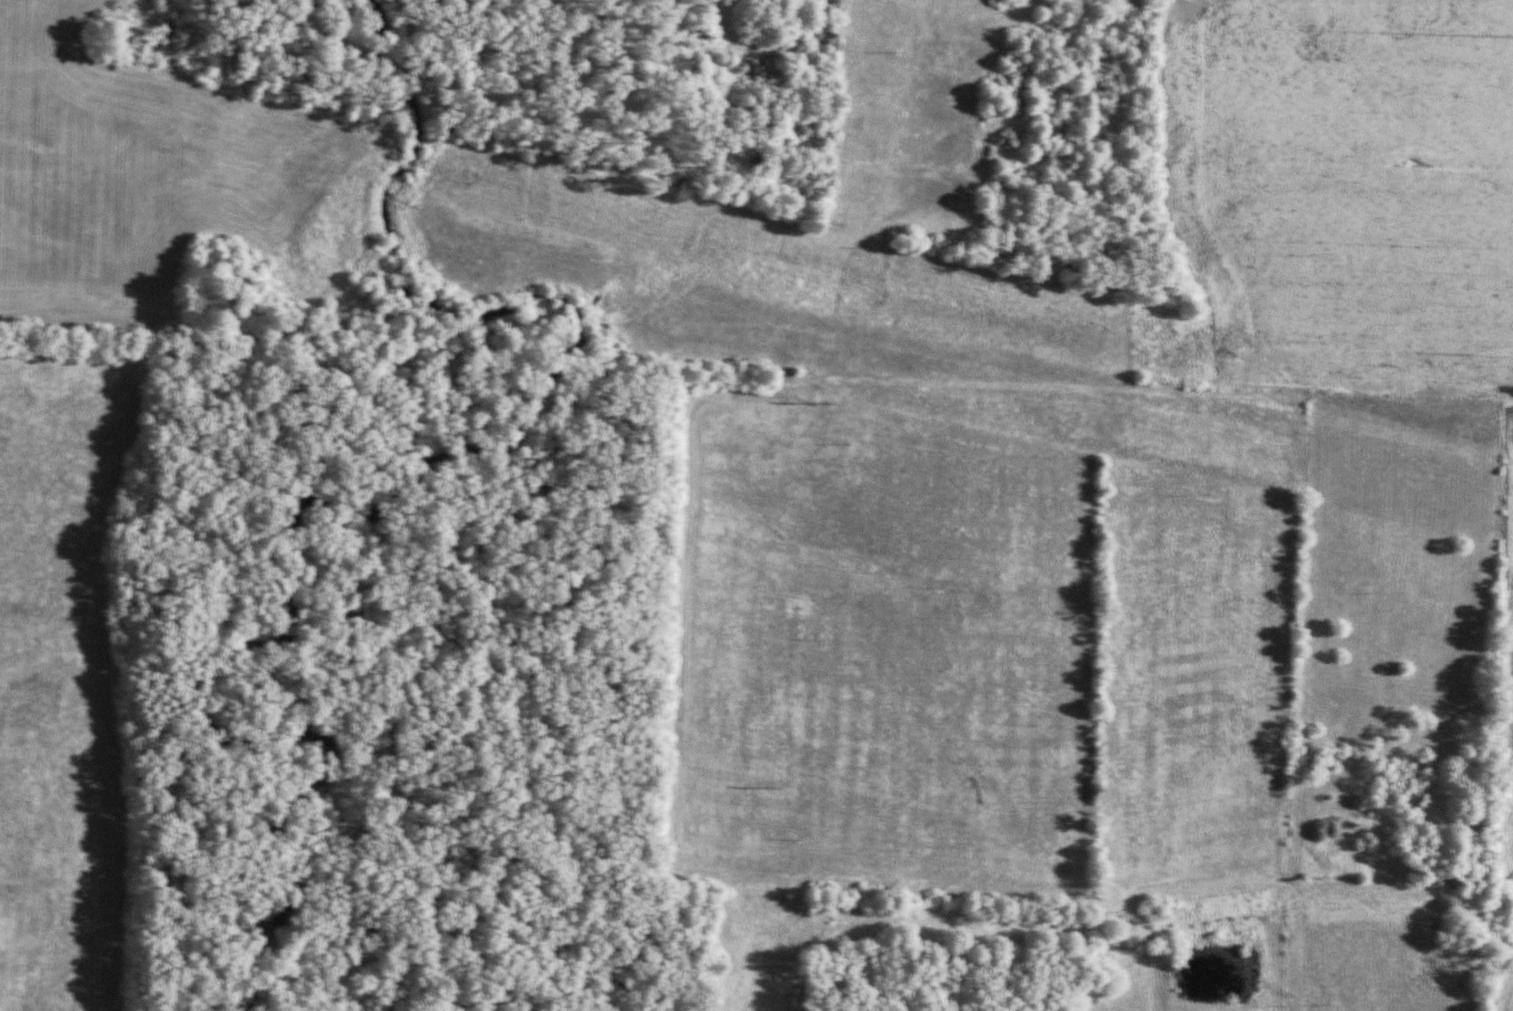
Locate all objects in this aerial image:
power tower: (800, 389)

